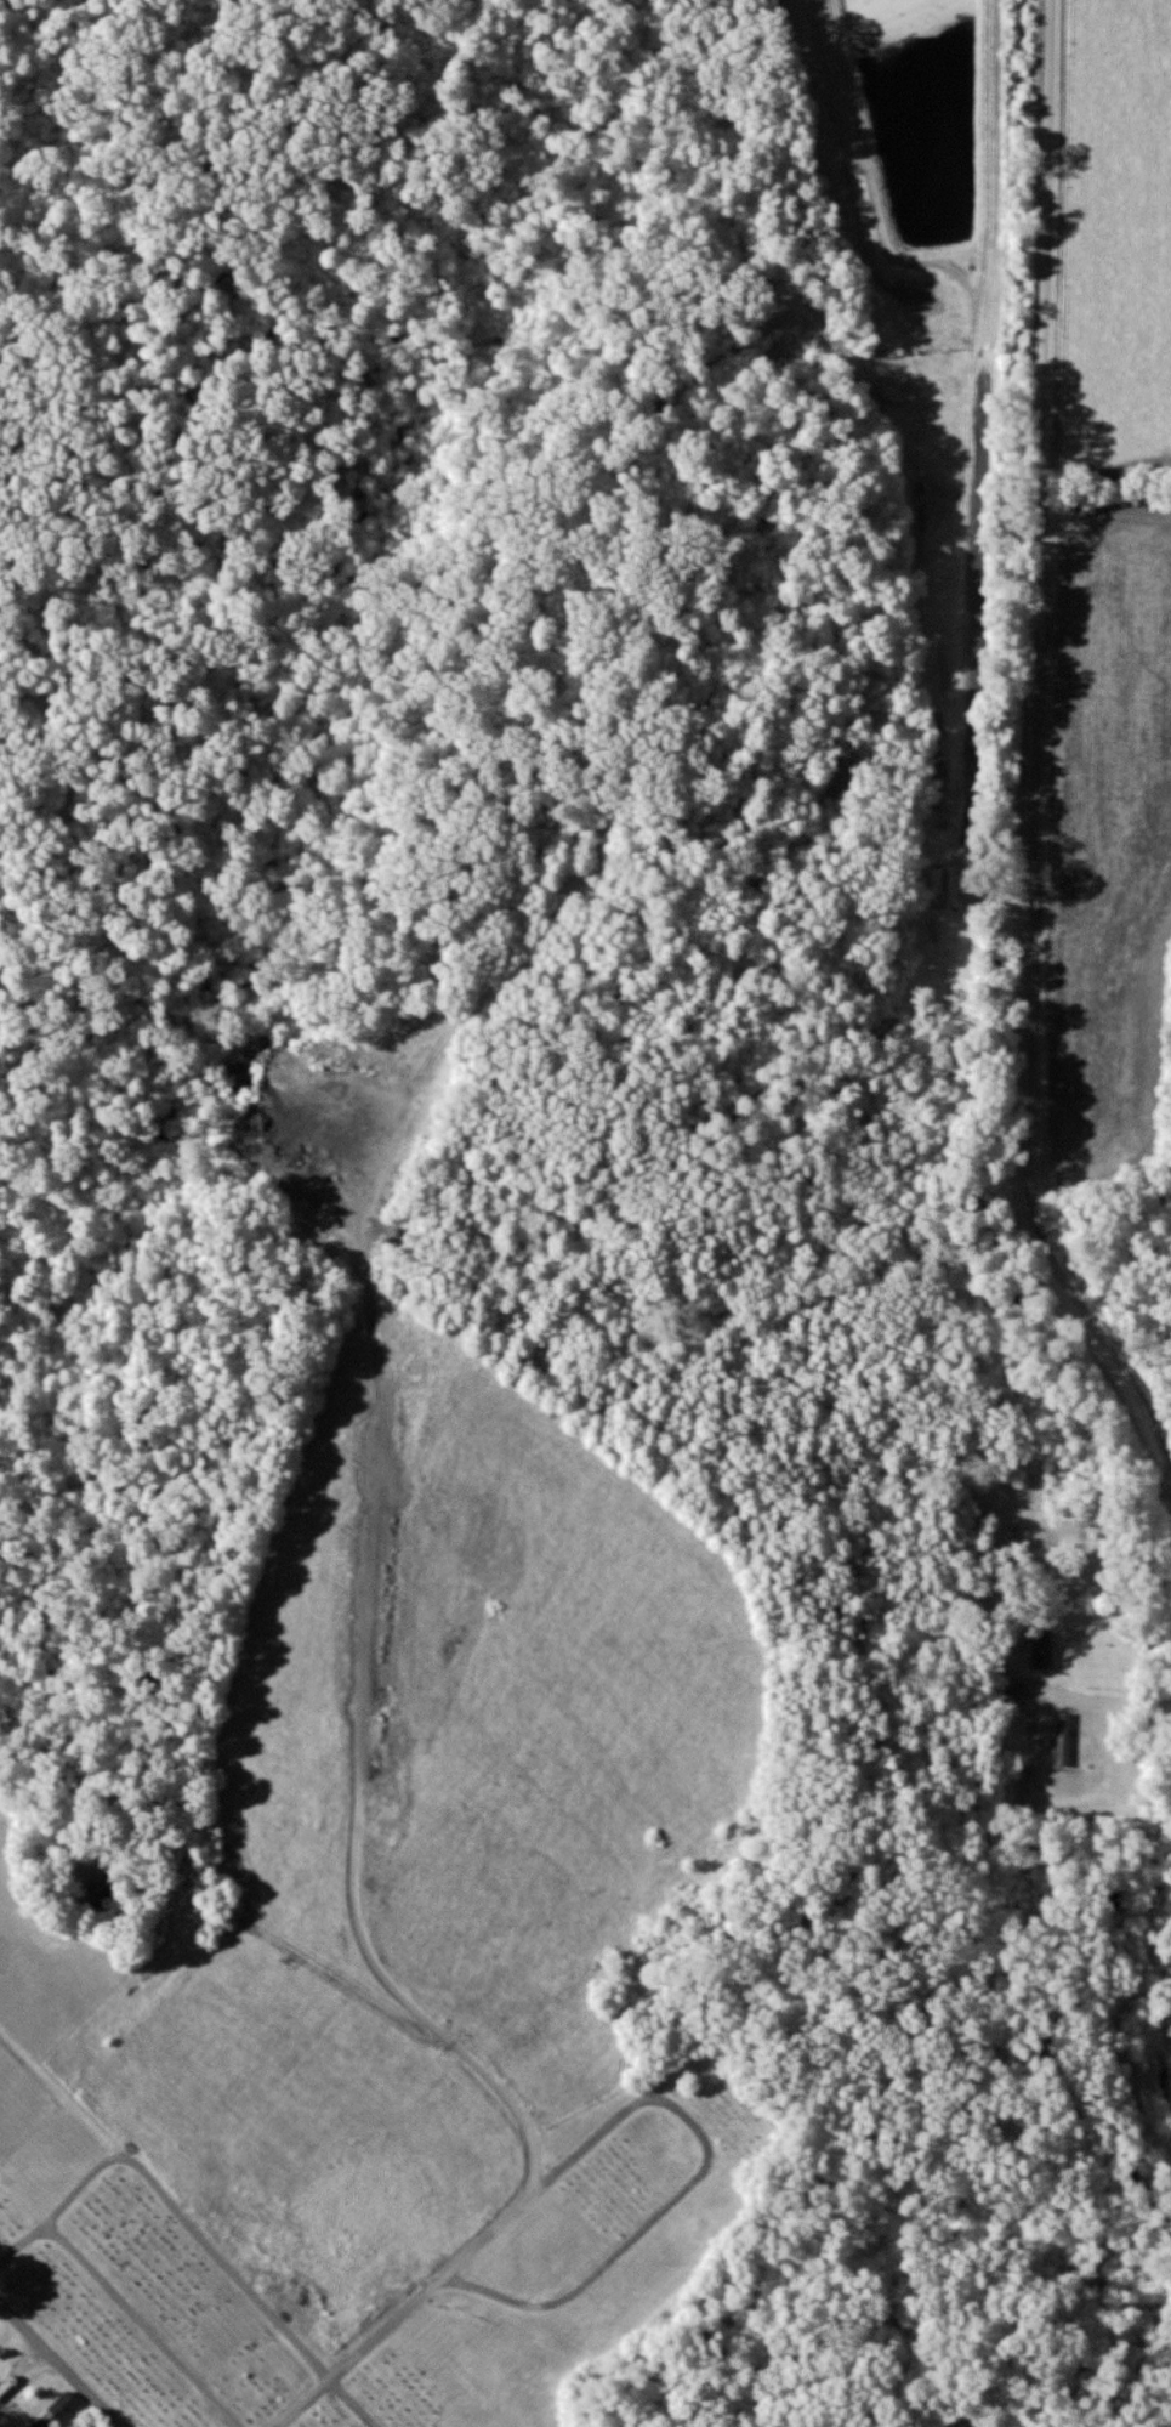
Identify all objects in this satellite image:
road: (1027, 778)
building: (934, 881)
road: (369, 1638)
building: (1041, 1650)
building: (1011, 1697)
road: (1105, 1699)
building: (1064, 1740)
road: (451, 2272)
road: (63, 2359)
building: (58, 2412)

